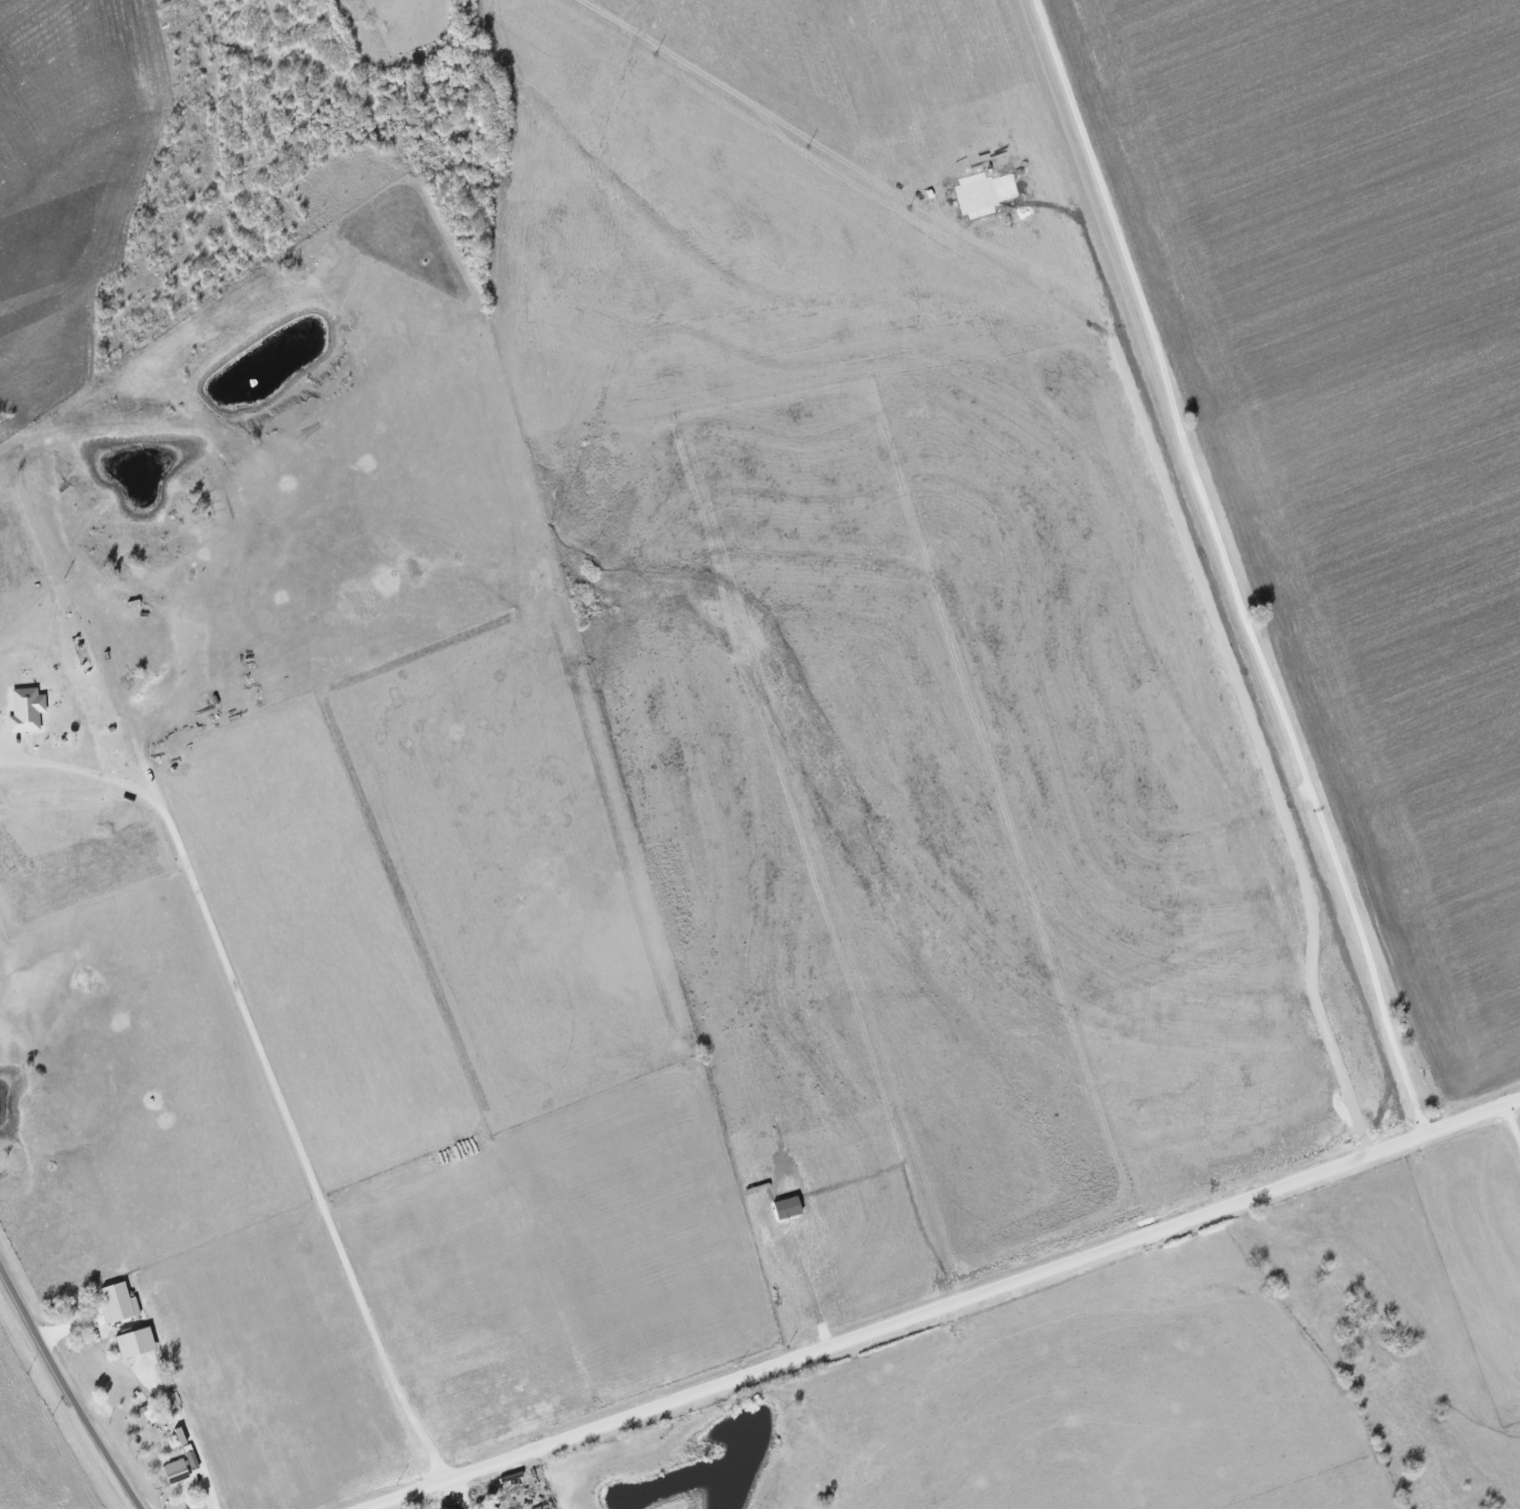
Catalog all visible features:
road: (1228, 565)
building: (26, 710)
road: (91, 784)
road: (1515, 1114)
road: (294, 1149)
building: (118, 1304)
road: (941, 1305)
building: (135, 1343)
road: (67, 1388)
road: (187, 1429)
building: (175, 1471)

